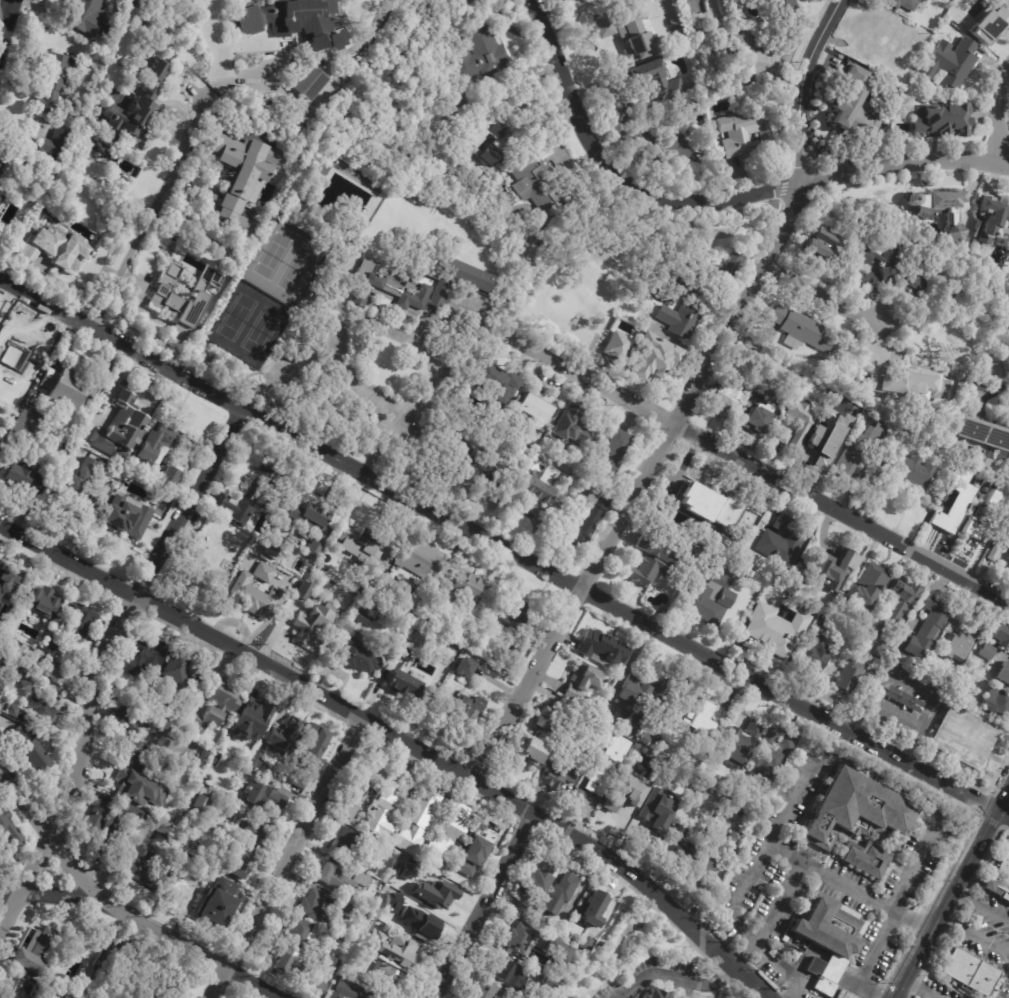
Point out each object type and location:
building: (613, 0)
building: (465, 2)
building: (904, 5)
road: (382, 6)
building: (780, 9)
building: (728, 10)
building: (85, 16)
building: (295, 22)
building: (992, 22)
road: (4, 23)
building: (692, 23)
building: (631, 34)
building: (882, 39)
building: (922, 40)
building: (480, 55)
building: (752, 58)
building: (950, 65)
building: (53, 82)
building: (308, 82)
building: (656, 82)
building: (857, 93)
building: (136, 109)
building: (619, 111)
road: (998, 113)
building: (941, 122)
building: (747, 133)
building: (489, 137)
building: (53, 142)
building: (664, 143)
building: (97, 150)
building: (1, 163)
building: (496, 171)
building: (0, 172)
building: (314, 172)
building: (240, 179)
building: (541, 184)
road: (167, 187)
building: (1, 199)
road: (715, 200)
building: (941, 209)
building: (994, 218)
building: (824, 247)
building: (56, 249)
building: (893, 271)
building: (467, 274)
building: (712, 274)
building: (387, 288)
building: (439, 293)
road: (823, 294)
building: (681, 318)
building: (803, 330)
road: (416, 341)
building: (616, 345)
building: (16, 358)
building: (659, 366)
road: (282, 371)
road: (365, 384)
building: (905, 385)
building: (497, 387)
building: (62, 388)
road: (688, 399)
building: (725, 400)
building: (532, 412)
building: (759, 418)
building: (800, 422)
building: (122, 428)
building: (573, 429)
building: (783, 437)
building: (983, 439)
building: (154, 445)
road: (378, 445)
building: (823, 448)
building: (857, 449)
building: (615, 452)
road: (751, 463)
building: (471, 464)
building: (912, 473)
building: (25, 476)
building: (165, 479)
building: (80, 484)
building: (534, 491)
building: (245, 498)
building: (142, 499)
building: (955, 502)
building: (713, 507)
building: (984, 517)
building: (113, 519)
building: (306, 519)
building: (582, 524)
building: (1006, 537)
building: (361, 541)
building: (781, 541)
building: (276, 545)
road: (502, 549)
building: (206, 550)
building: (994, 553)
building: (420, 561)
building: (651, 562)
building: (324, 564)
building: (747, 565)
building: (830, 571)
building: (263, 573)
building: (731, 573)
building: (7, 578)
building: (378, 585)
building: (465, 586)
building: (866, 587)
building: (303, 592)
building: (252, 598)
building: (706, 599)
building: (38, 600)
building: (894, 610)
building: (425, 616)
building: (361, 618)
building: (510, 618)
building: (79, 623)
building: (313, 624)
building: (927, 630)
building: (851, 634)
building: (1000, 635)
building: (772, 636)
building: (964, 642)
building: (48, 647)
building: (819, 647)
building: (1008, 649)
building: (600, 650)
building: (987, 652)
building: (356, 654)
building: (404, 654)
building: (145, 657)
road: (107, 663)
building: (3, 665)
building: (175, 669)
building: (462, 669)
building: (53, 670)
building: (19, 672)
building: (1004, 675)
building: (850, 676)
building: (0, 681)
building: (583, 682)
road: (913, 683)
building: (404, 685)
building: (959, 692)
building: (639, 700)
building: (997, 702)
building: (225, 709)
building: (469, 709)
building: (11, 710)
building: (42, 712)
building: (173, 714)
road: (896, 714)
building: (695, 717)
building: (133, 718)
building: (251, 721)
building: (543, 721)
building: (283, 737)
road: (399, 737)
building: (962, 737)
building: (650, 738)
building: (740, 742)
building: (28, 749)
building: (614, 750)
building: (308, 754)
building: (533, 754)
building: (770, 755)
building: (136, 756)
road: (836, 758)
building: (201, 760)
building: (256, 760)
building: (632, 768)
building: (564, 772)
building: (674, 776)
building: (209, 778)
building: (595, 784)
building: (361, 788)
building: (137, 791)
building: (265, 798)
building: (574, 801)
building: (201, 803)
building: (618, 806)
building: (650, 806)
building: (856, 811)
building: (384, 813)
building: (734, 813)
building: (96, 817)
building: (417, 823)
building: (154, 824)
building: (121, 826)
building: (9, 827)
road: (46, 832)
building: (649, 834)
building: (254, 835)
building: (448, 836)
building: (735, 840)
building: (370, 841)
building: (346, 846)
building: (678, 846)
building: (473, 855)
road: (285, 857)
building: (183, 858)
building: (866, 860)
building: (1, 862)
building: (143, 867)
building: (369, 868)
building: (240, 869)
building: (704, 870)
building: (407, 871)
road: (828, 874)
building: (538, 877)
building: (997, 877)
building: (340, 880)
building: (393, 881)
building: (183, 883)
road: (949, 886)
building: (436, 894)
road: (8, 895)
building: (559, 895)
road: (777, 902)
building: (218, 903)
road: (979, 903)
road: (483, 905)
building: (521, 907)
building: (595, 909)
building: (314, 910)
building: (345, 912)
building: (415, 924)
road: (153, 927)
road: (972, 931)
building: (301, 934)
building: (517, 941)
building: (826, 941)
building: (585, 945)
building: (553, 947)
building: (85, 950)
building: (32, 952)
building: (398, 953)
road: (866, 953)
building: (329, 961)
building: (287, 963)
building: (128, 966)
building: (968, 969)
road: (784, 971)
building: (511, 977)
road: (677, 977)
building: (386, 980)
building: (166, 983)
road: (873, 983)
road: (922, 984)
building: (548, 986)
building: (21, 989)
building: (318, 989)
building: (486, 990)
road: (791, 991)
building: (345, 992)
building: (654, 994)
building: (843, 994)
building: (813, 997)

